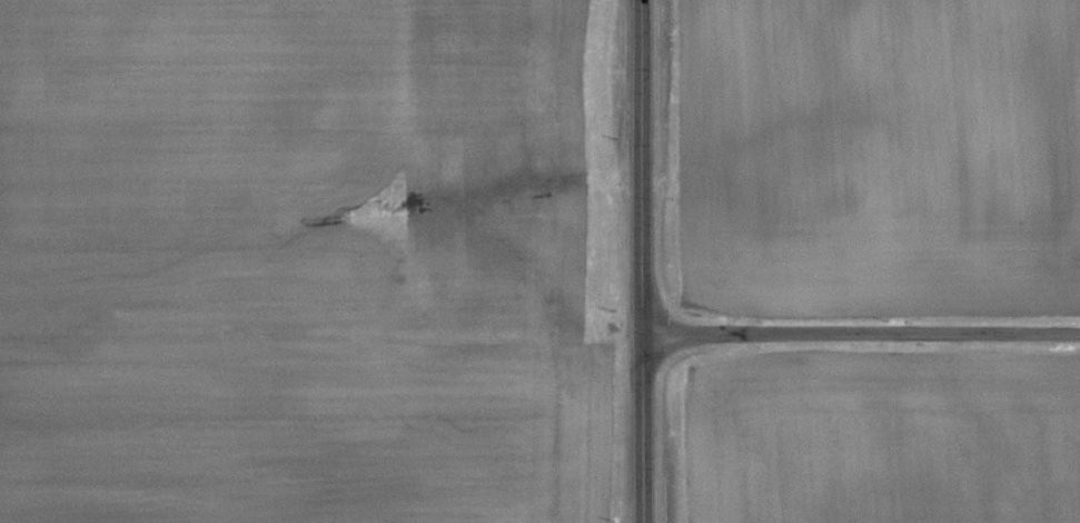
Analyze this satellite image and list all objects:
road: (640, 261)
road: (861, 337)

